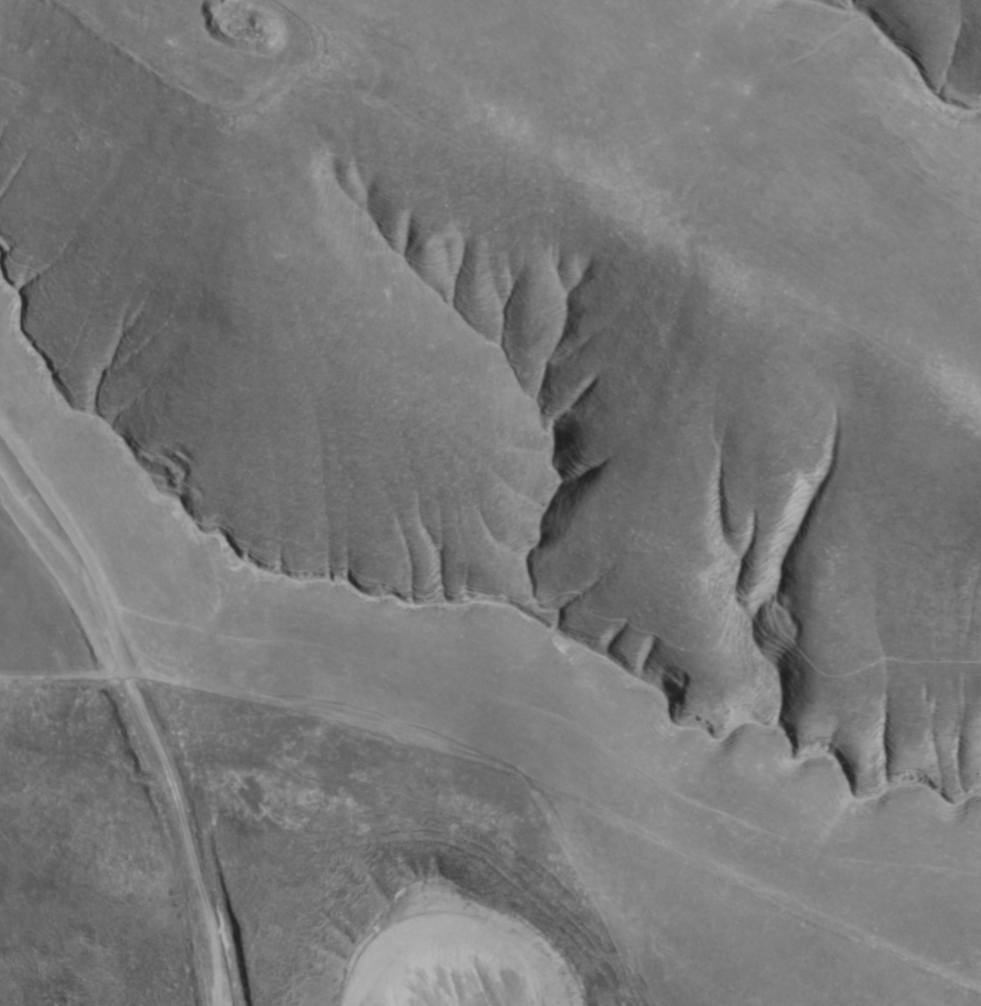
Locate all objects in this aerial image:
road: (93, 811)

